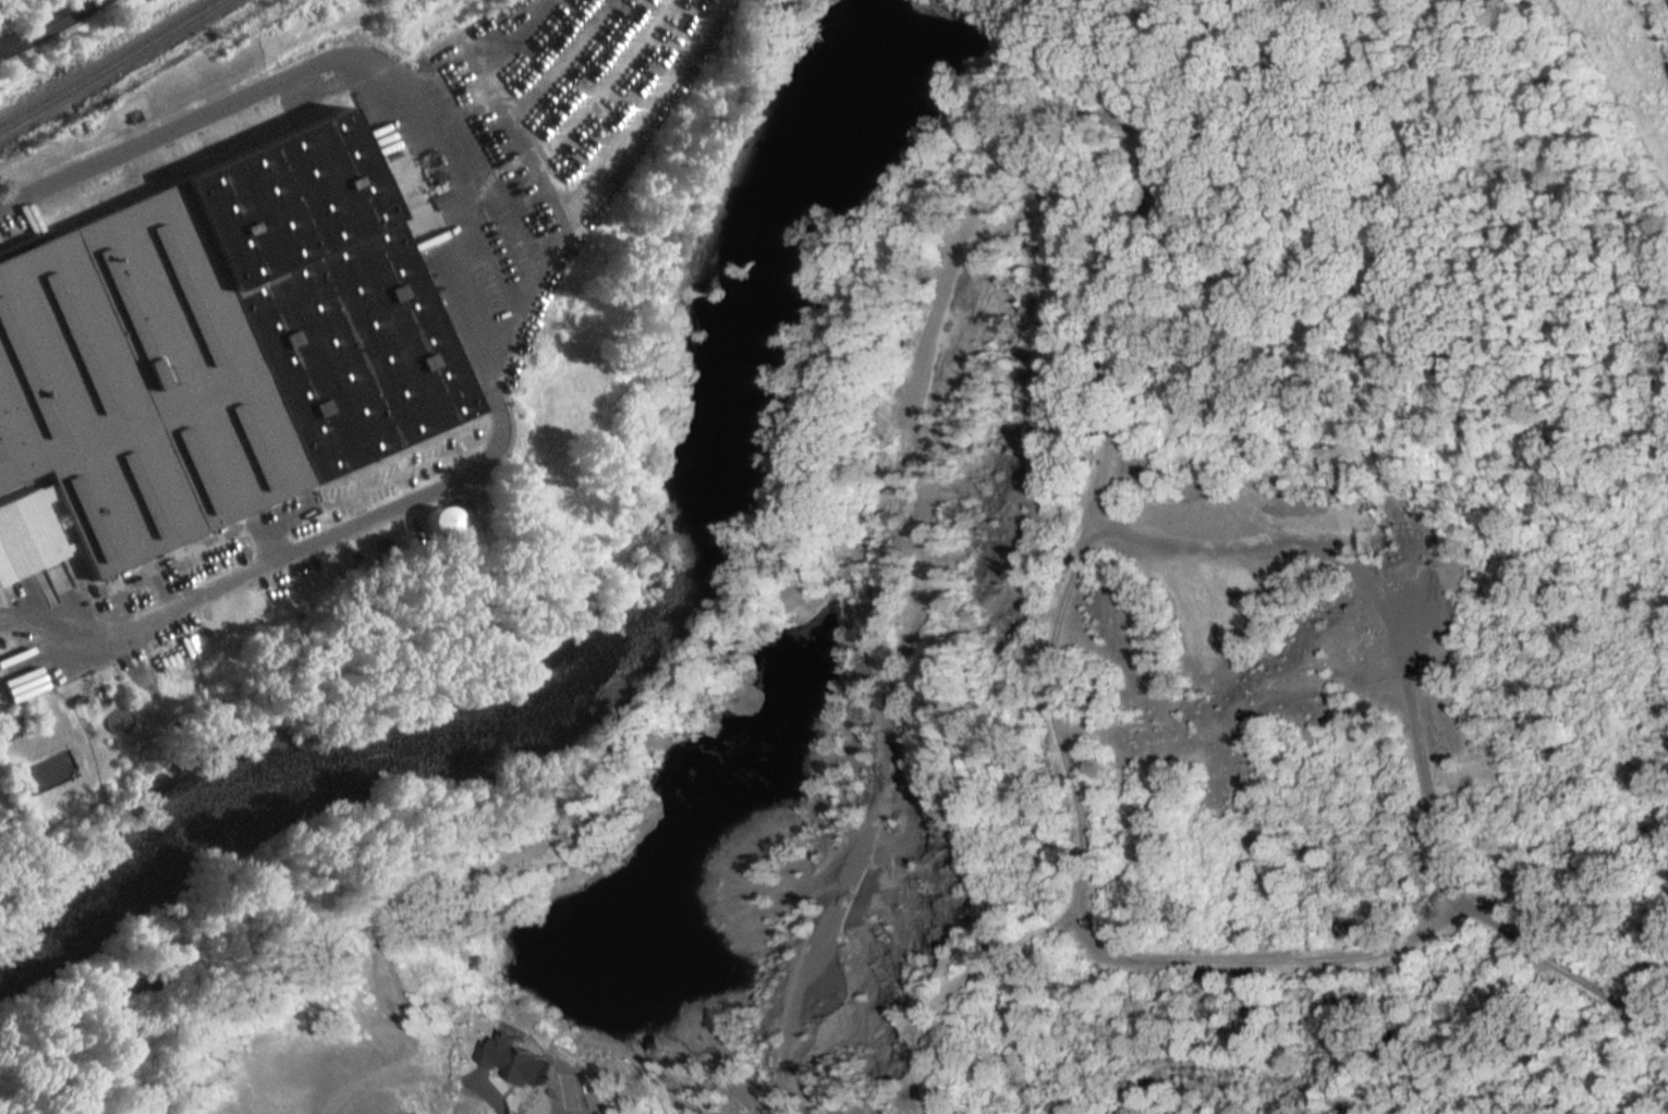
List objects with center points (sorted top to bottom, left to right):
road: (47, 25)
railway: (109, 64)
road: (1130, 228)
road: (501, 309)
building: (219, 345)
building: (441, 521)
building: (27, 534)
road: (1385, 623)
river: (624, 651)
road: (1379, 952)
road: (953, 988)
building: (501, 1057)
road: (460, 1082)

